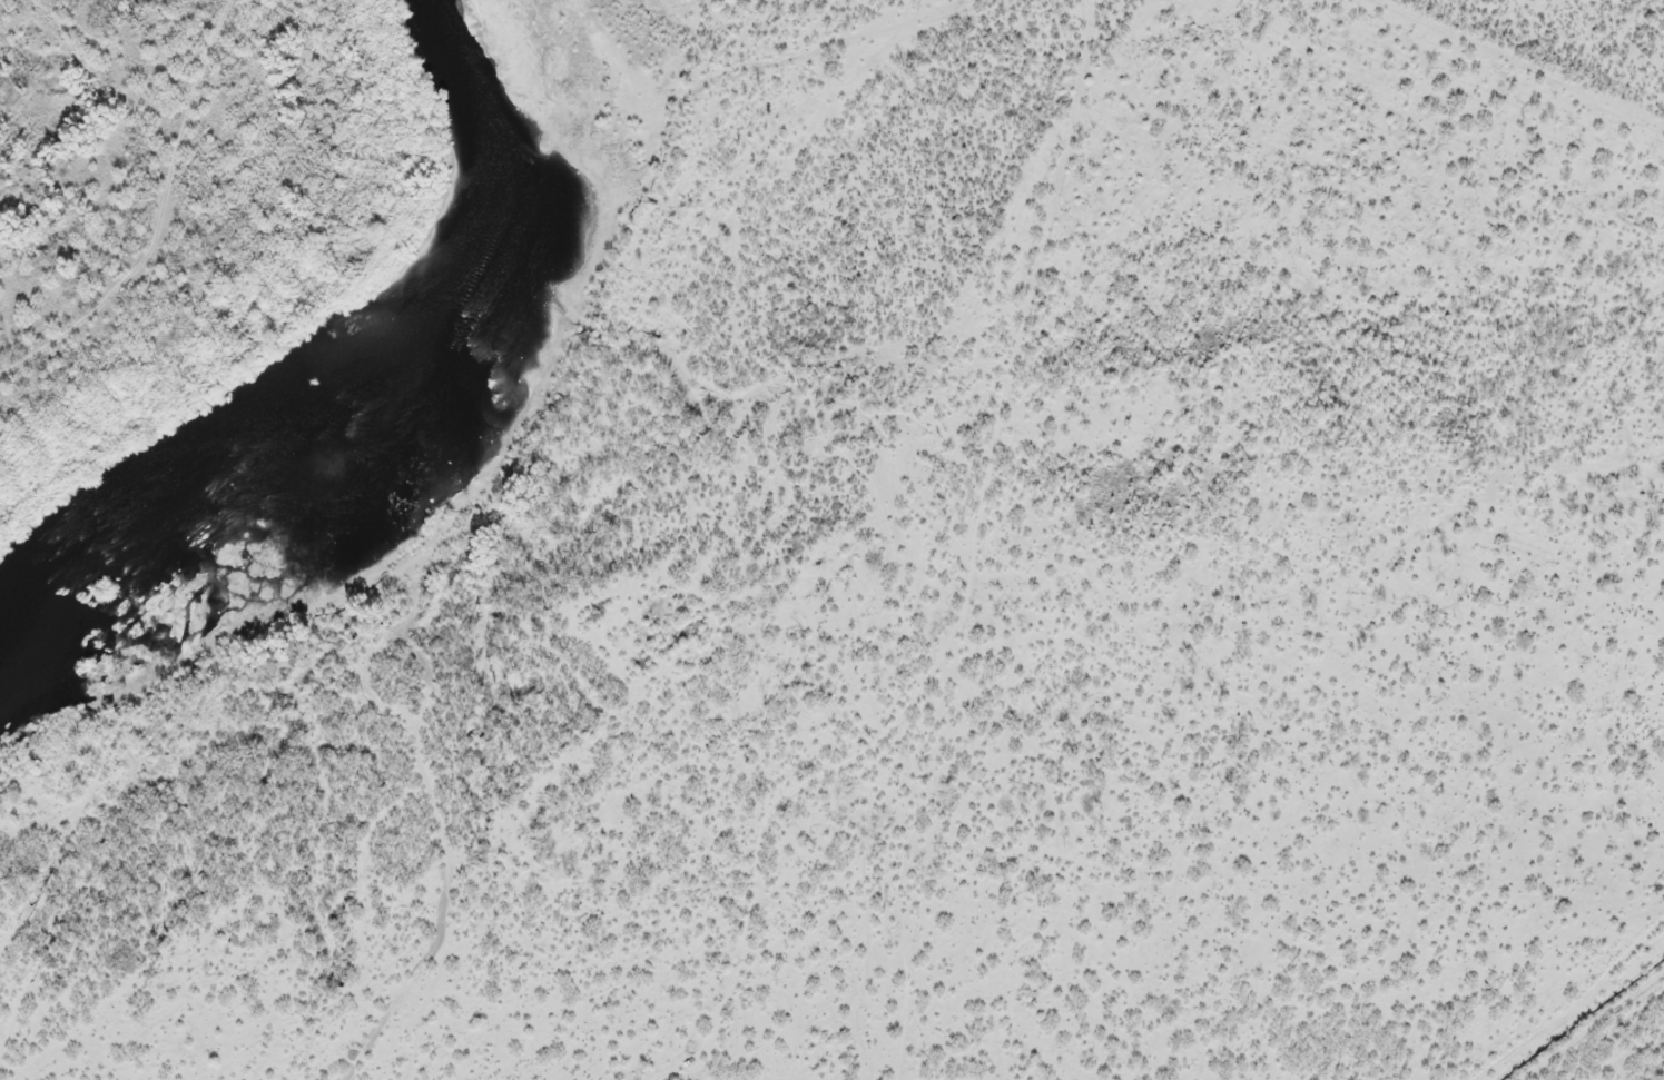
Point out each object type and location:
river: (396, 430)

